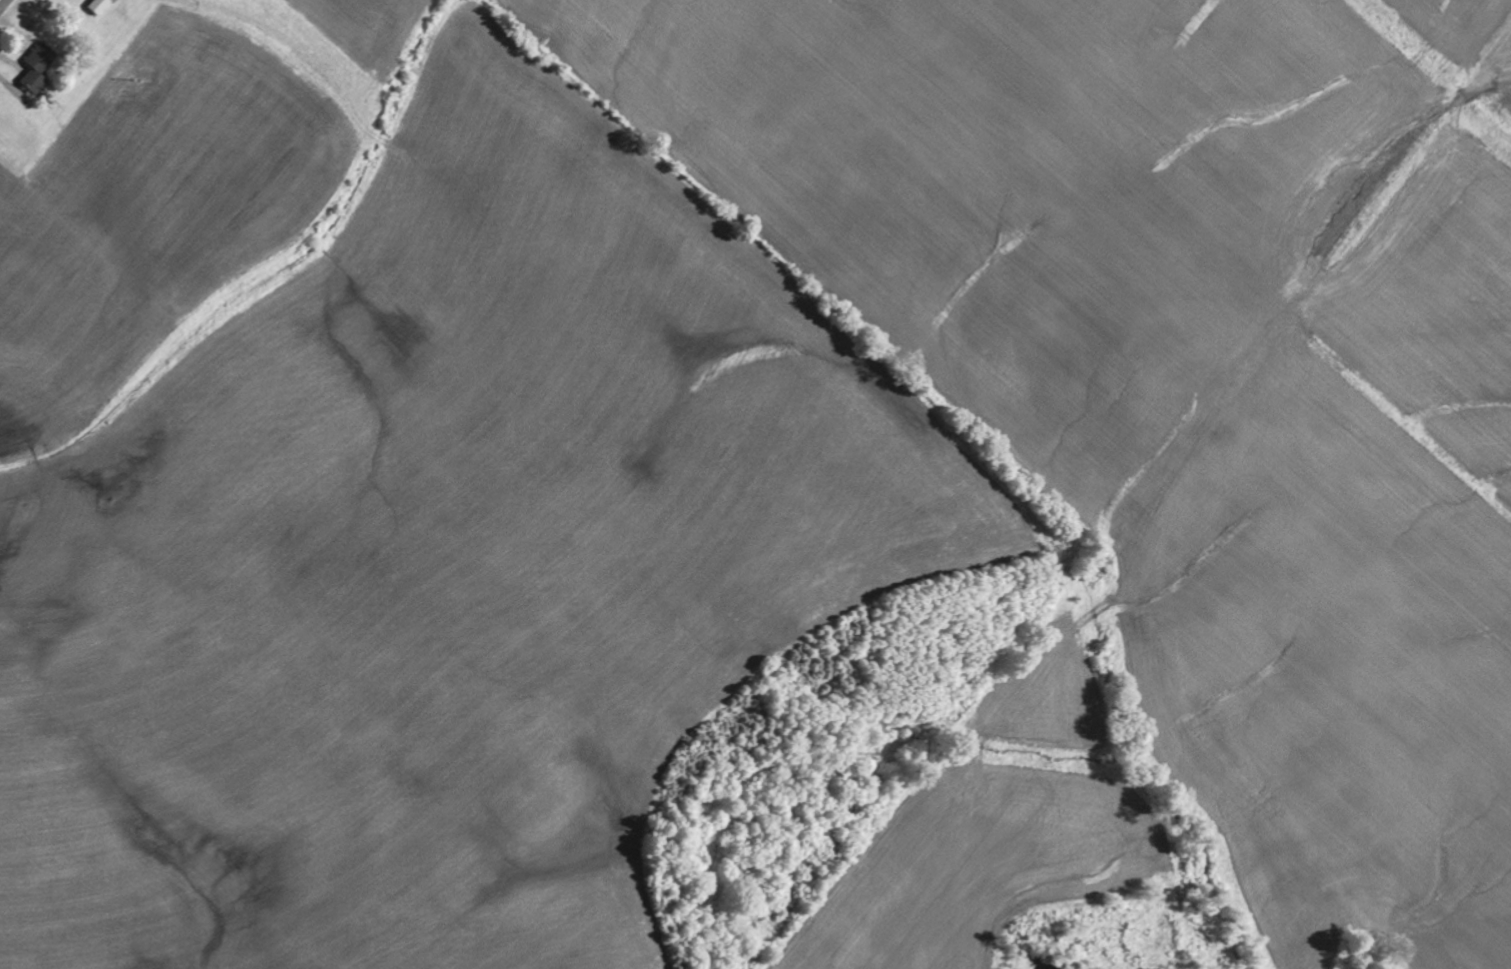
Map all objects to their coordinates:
road: (4, 4)
building: (98, 7)
building: (36, 69)

